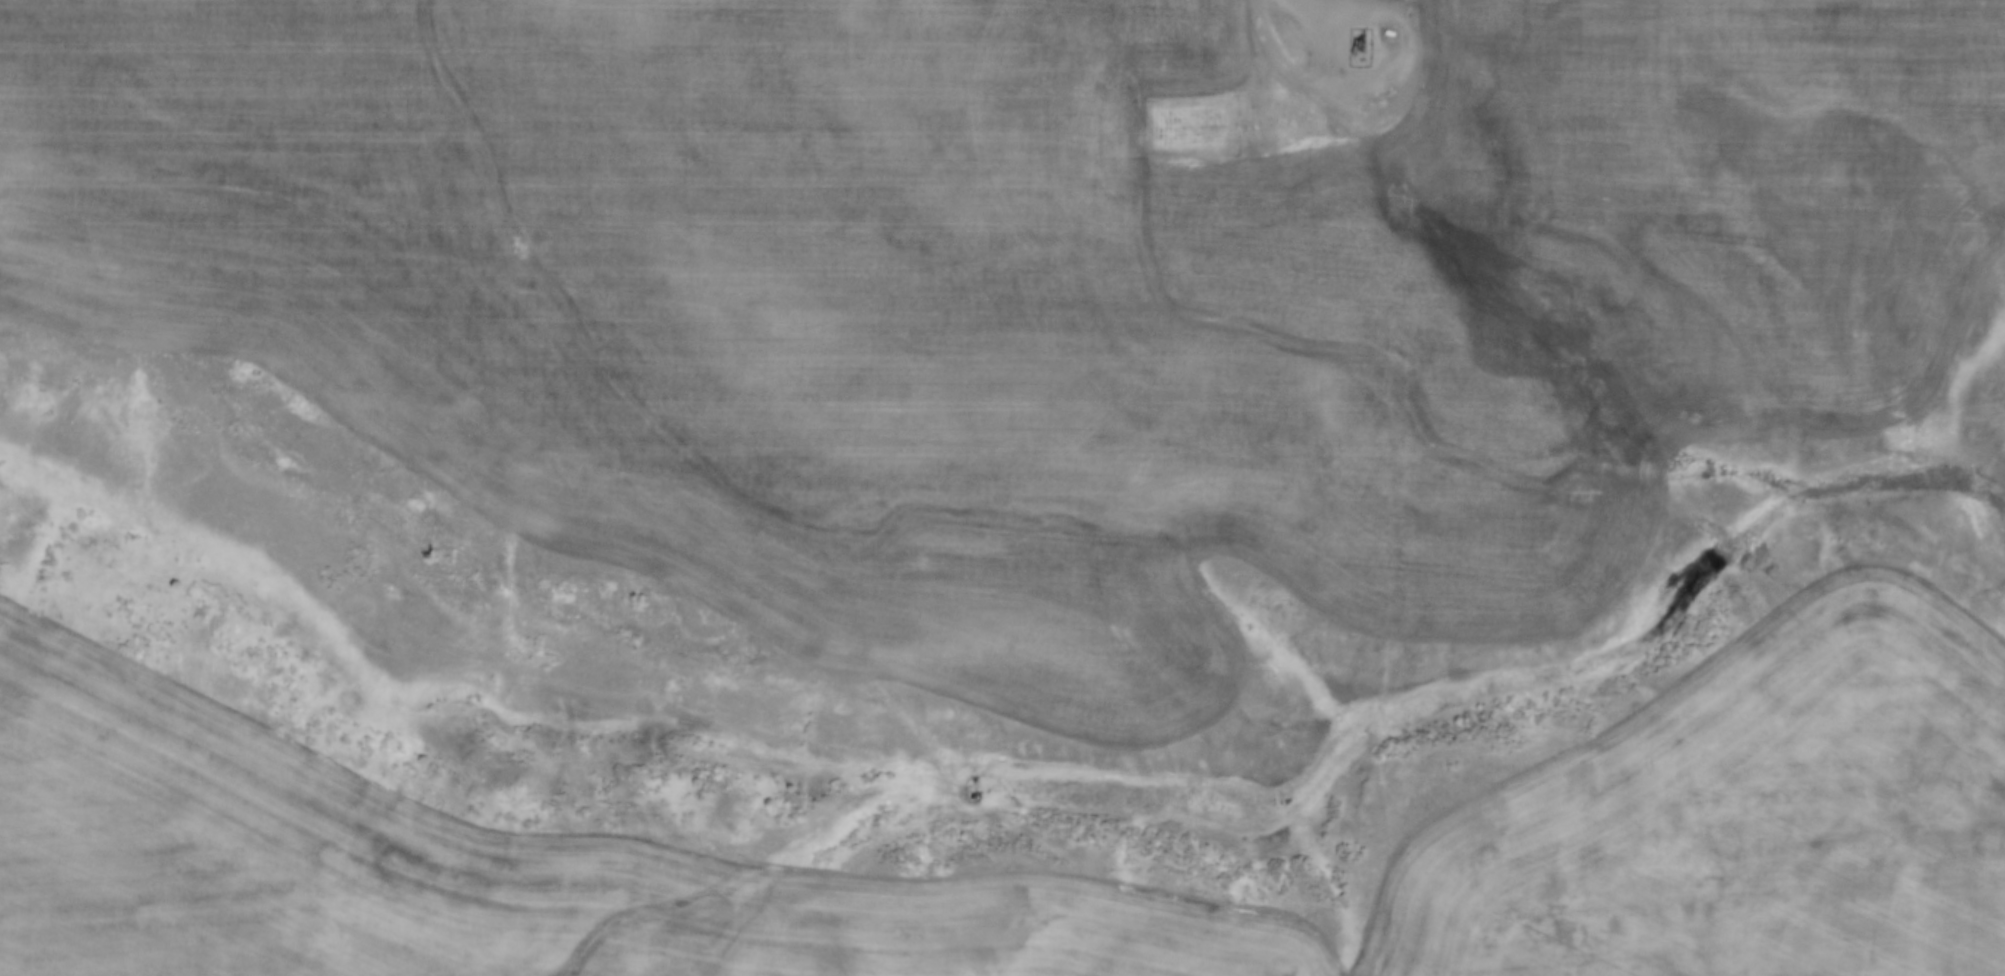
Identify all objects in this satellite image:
road: (1274, 51)

